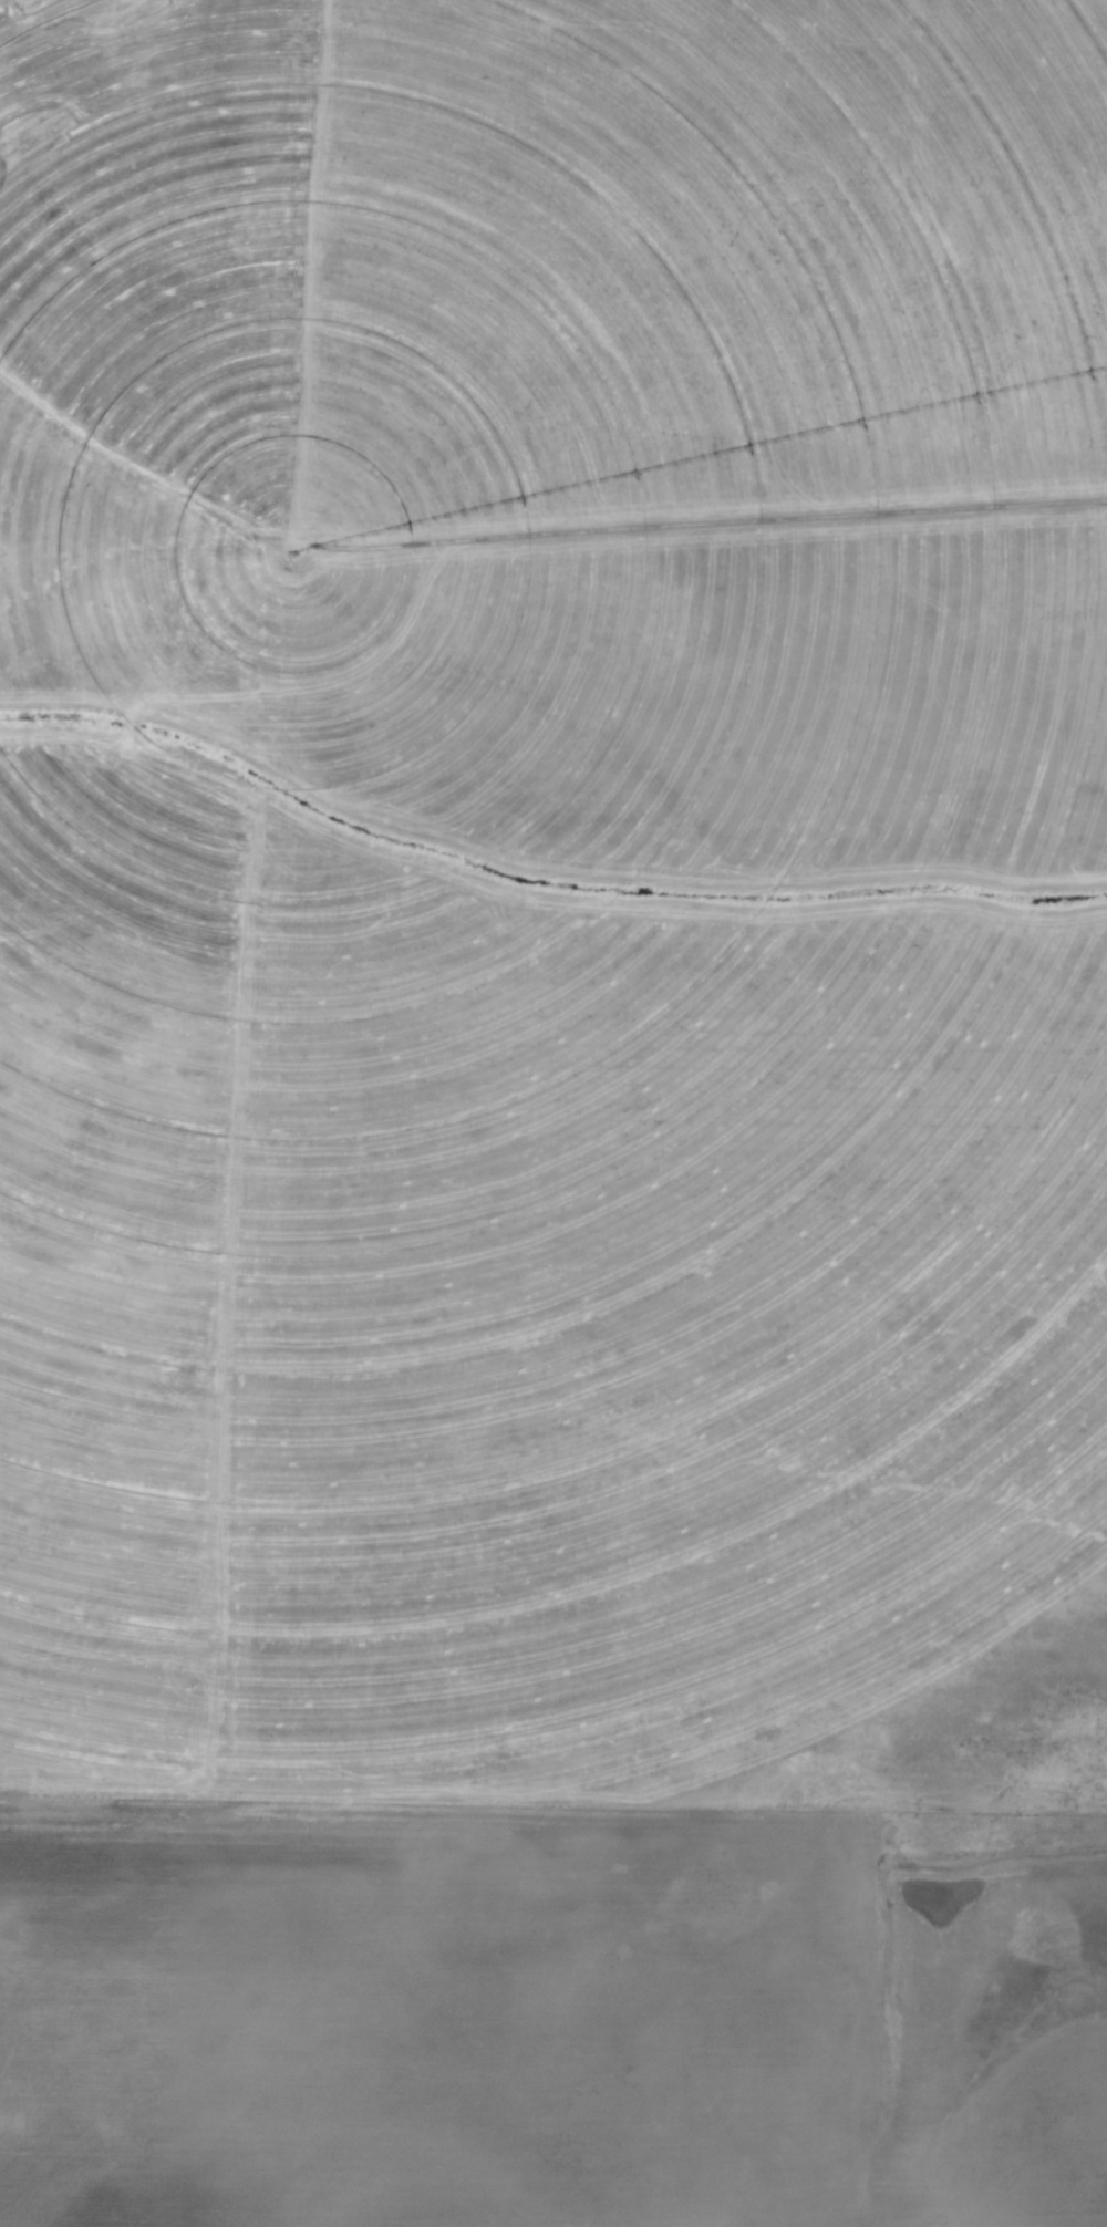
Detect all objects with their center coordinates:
crop: (518, 707)
crop: (670, 1537)
crop: (549, 2014)

